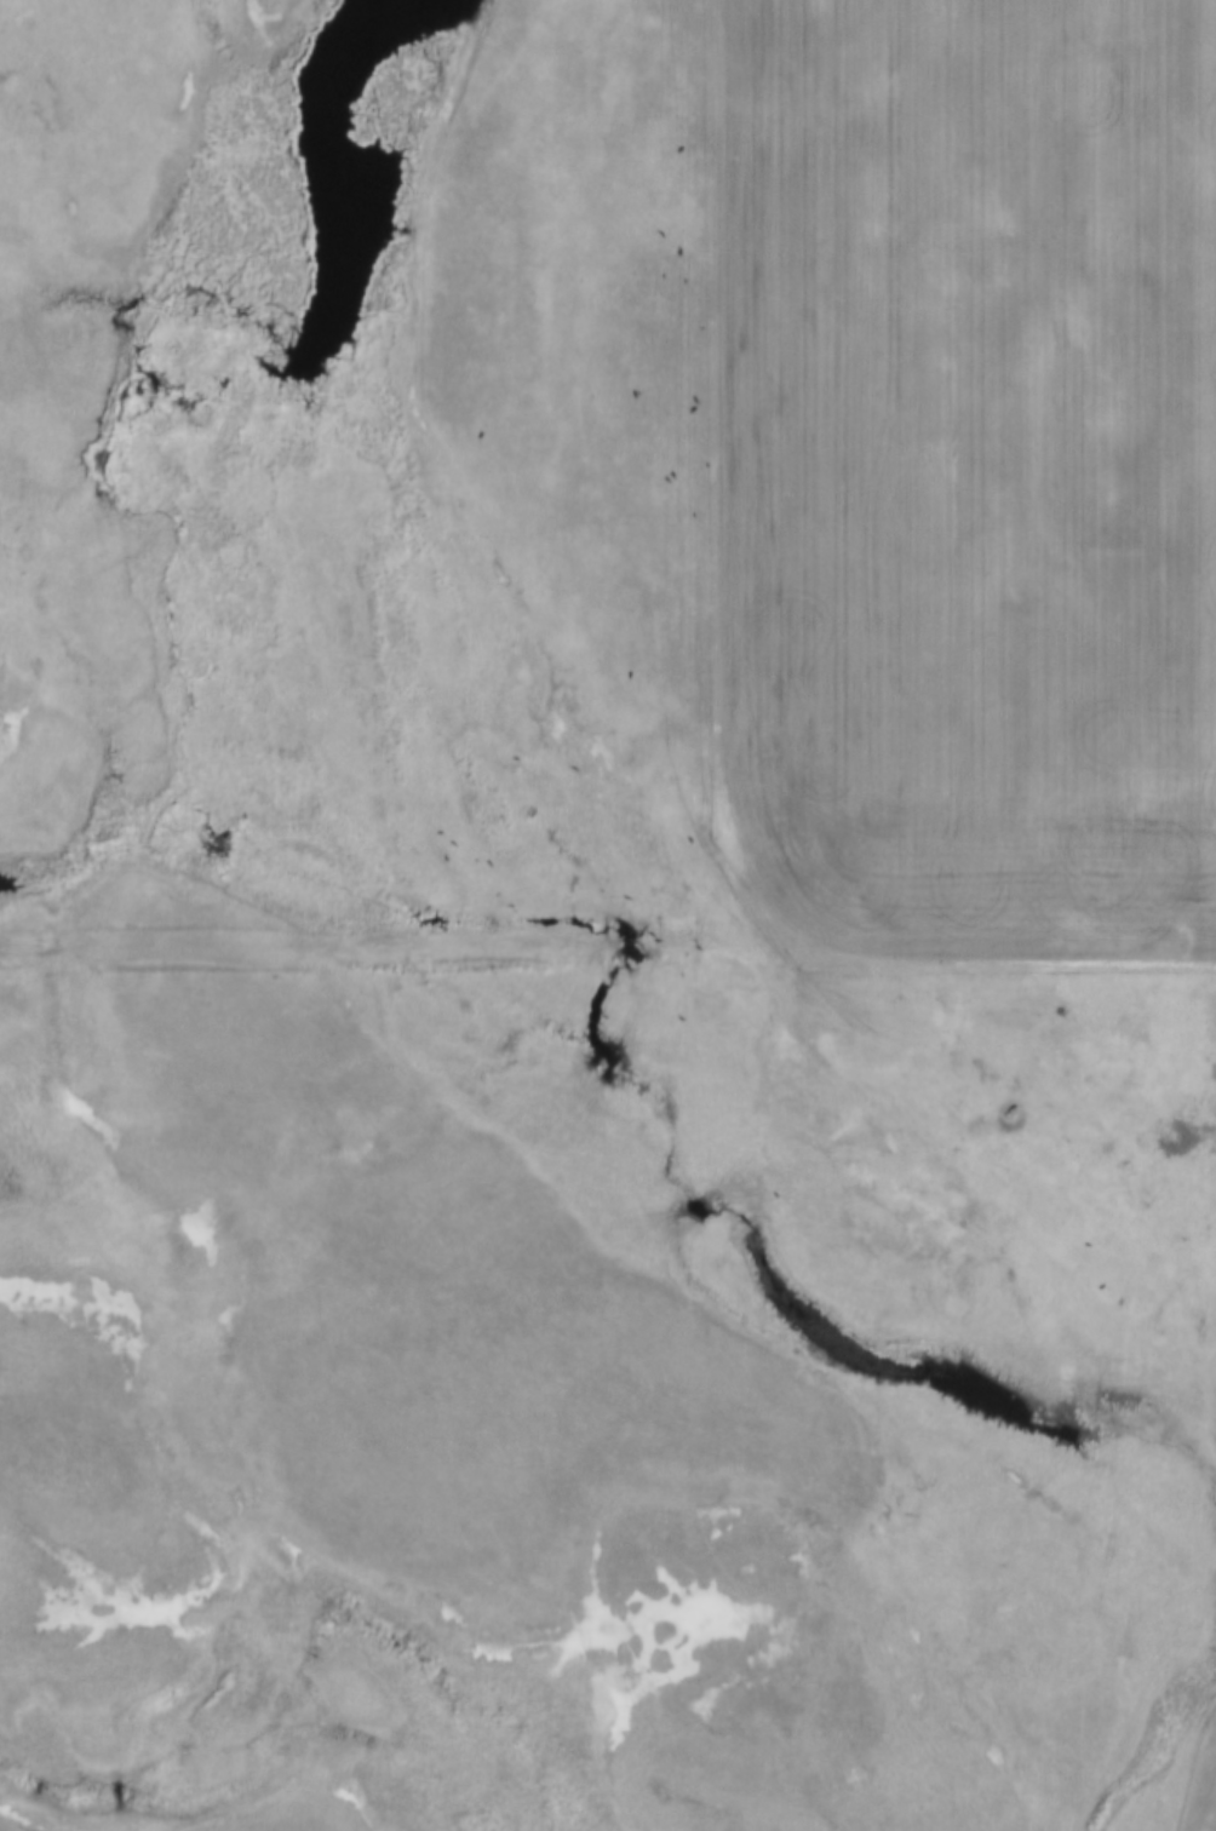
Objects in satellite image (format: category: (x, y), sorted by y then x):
road: (689, 673)
road: (382, 945)

